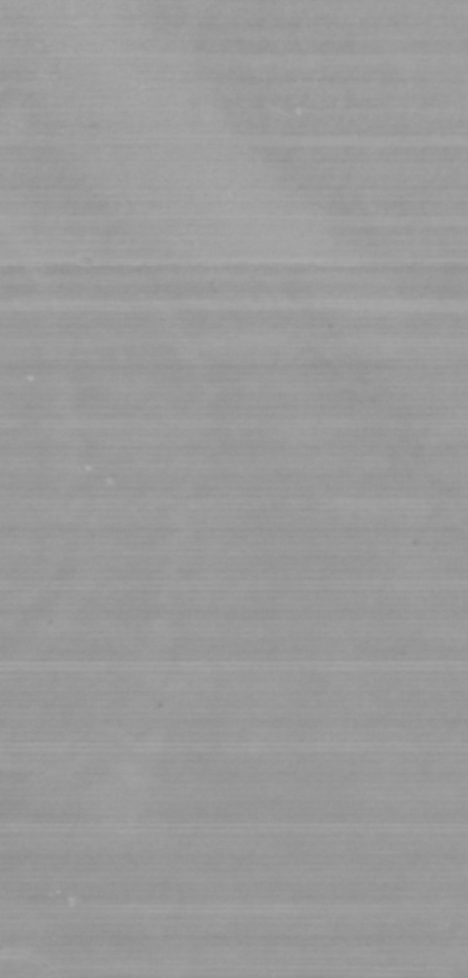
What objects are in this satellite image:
crop: (234, 489)

